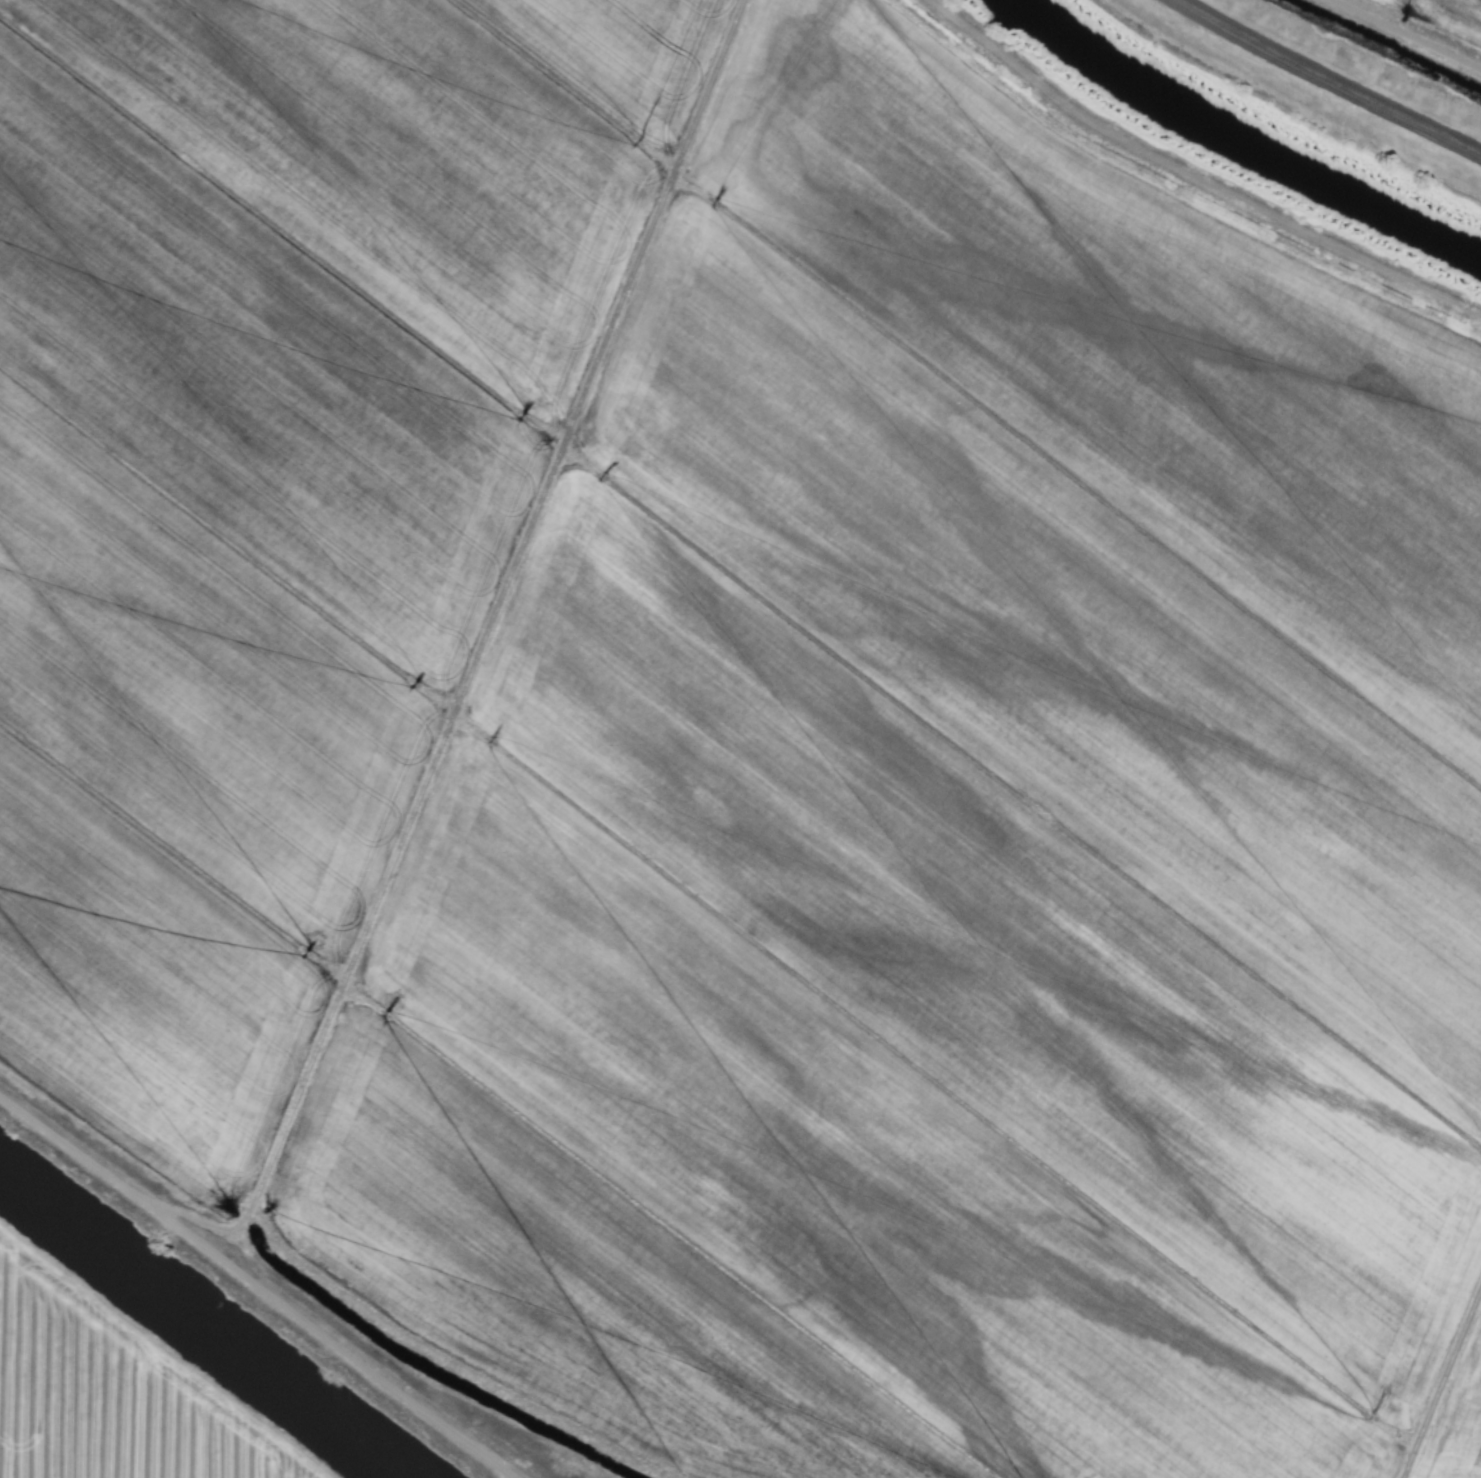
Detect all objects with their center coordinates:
crop: (1409, 34)
road: (1326, 80)

